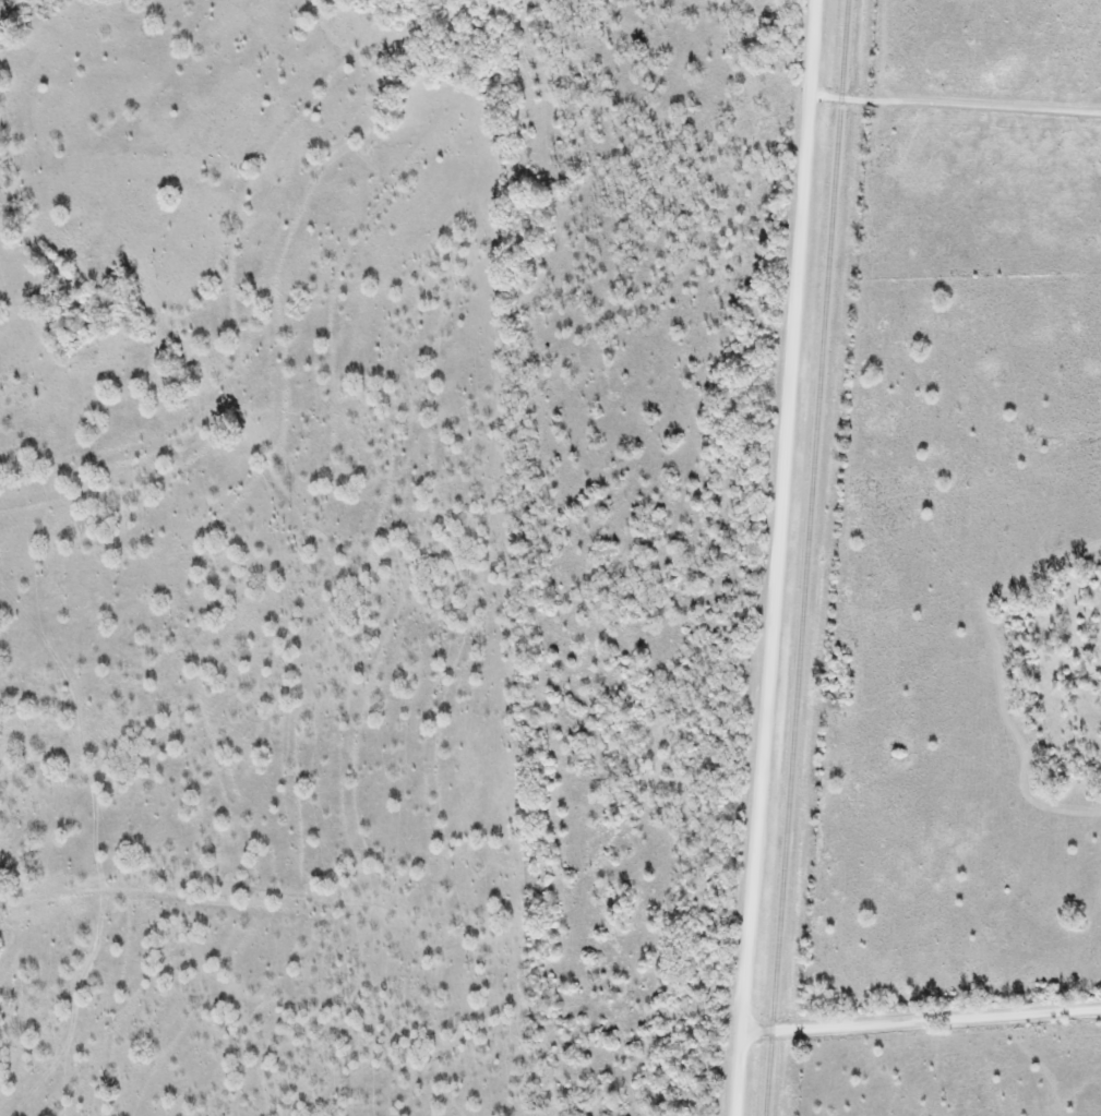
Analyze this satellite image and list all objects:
road: (955, 106)
road: (771, 557)
railway: (810, 557)
road: (921, 1022)

